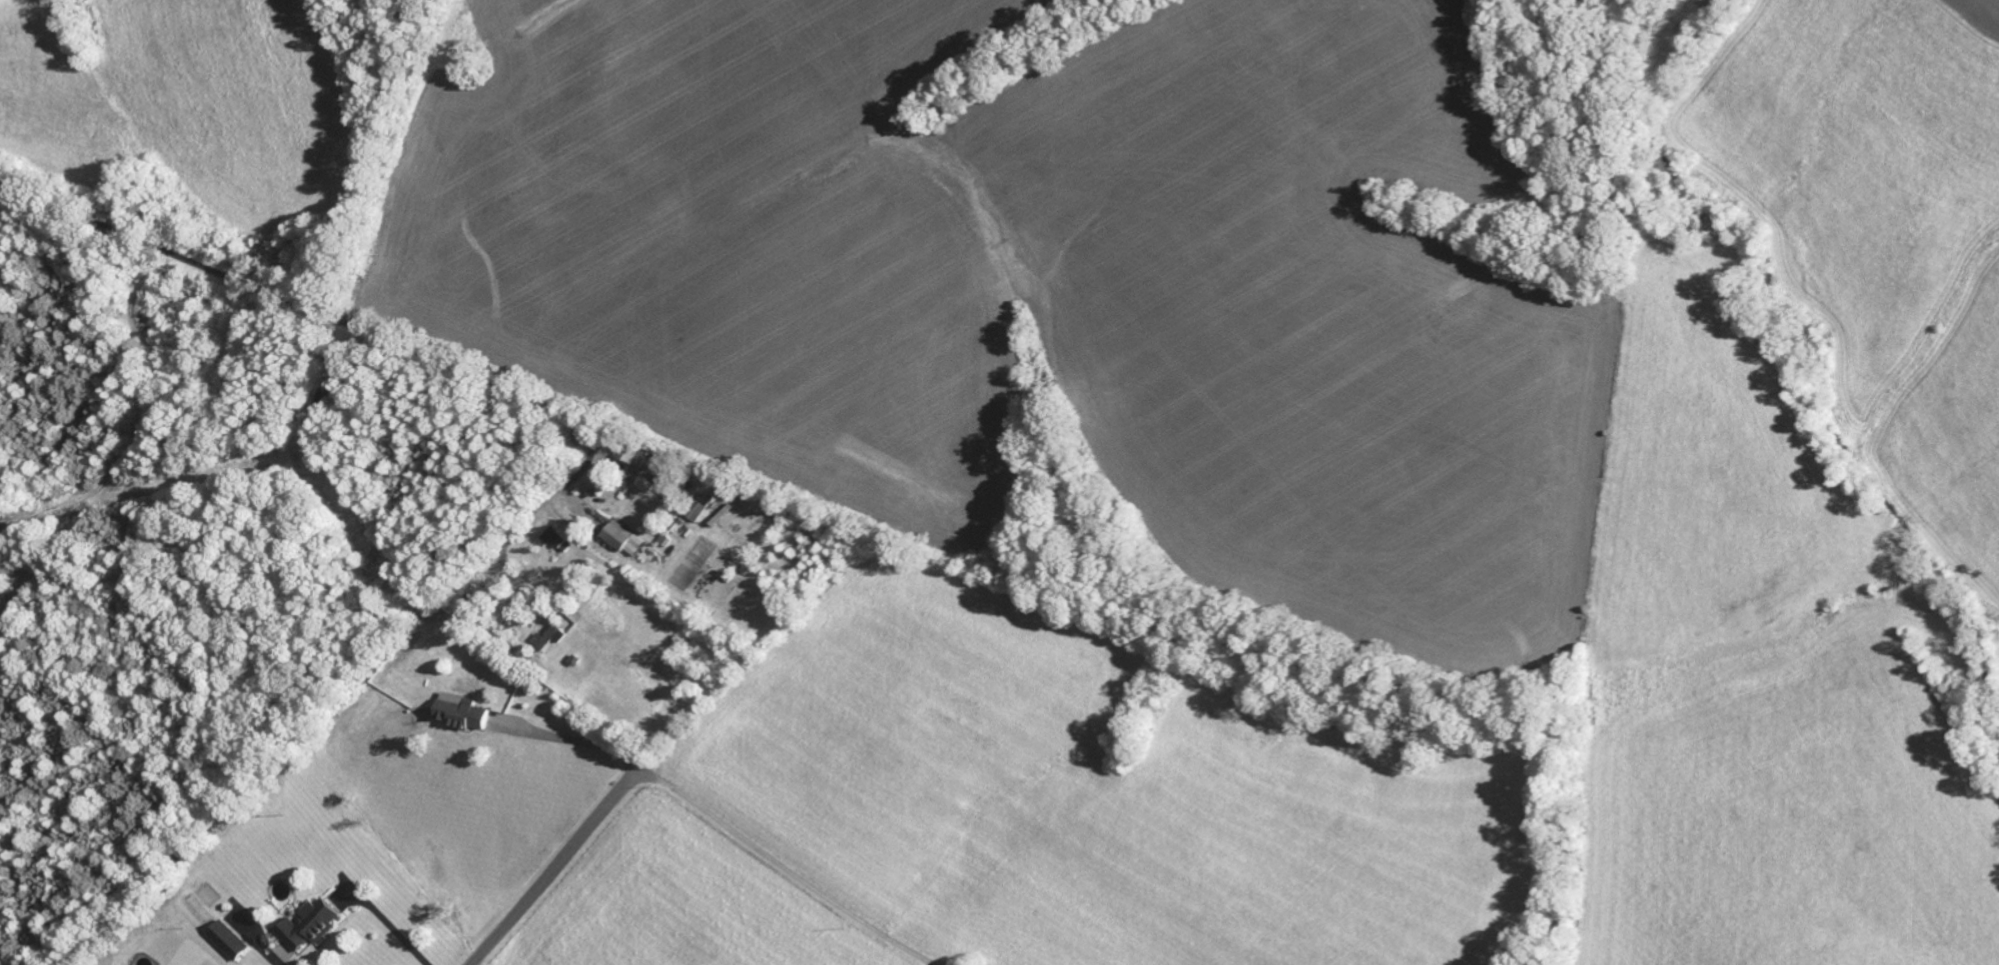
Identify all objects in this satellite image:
road: (359, 333)
building: (630, 457)
building: (644, 487)
building: (696, 511)
building: (553, 540)
building: (623, 542)
building: (546, 640)
building: (460, 715)
road: (555, 866)
building: (307, 929)
building: (227, 944)

